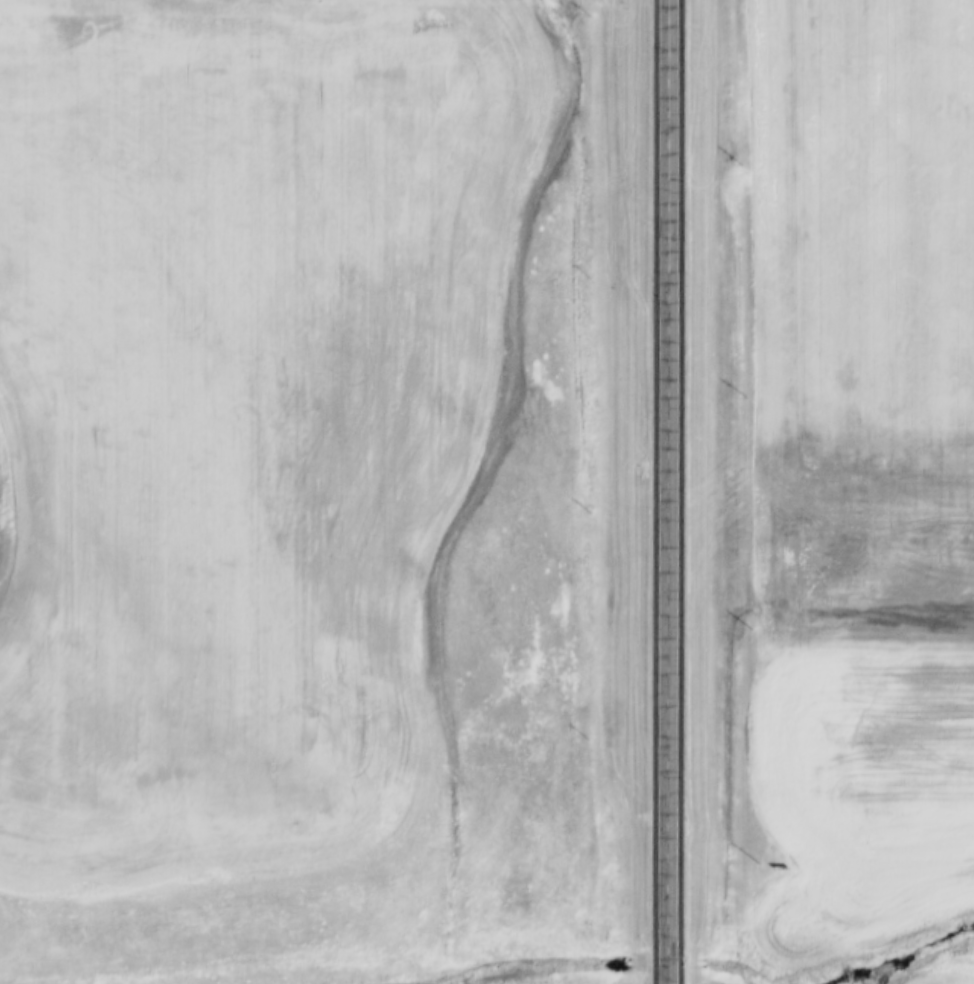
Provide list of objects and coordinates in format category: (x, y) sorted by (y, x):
quarry: (2, 463)
road: (668, 492)

